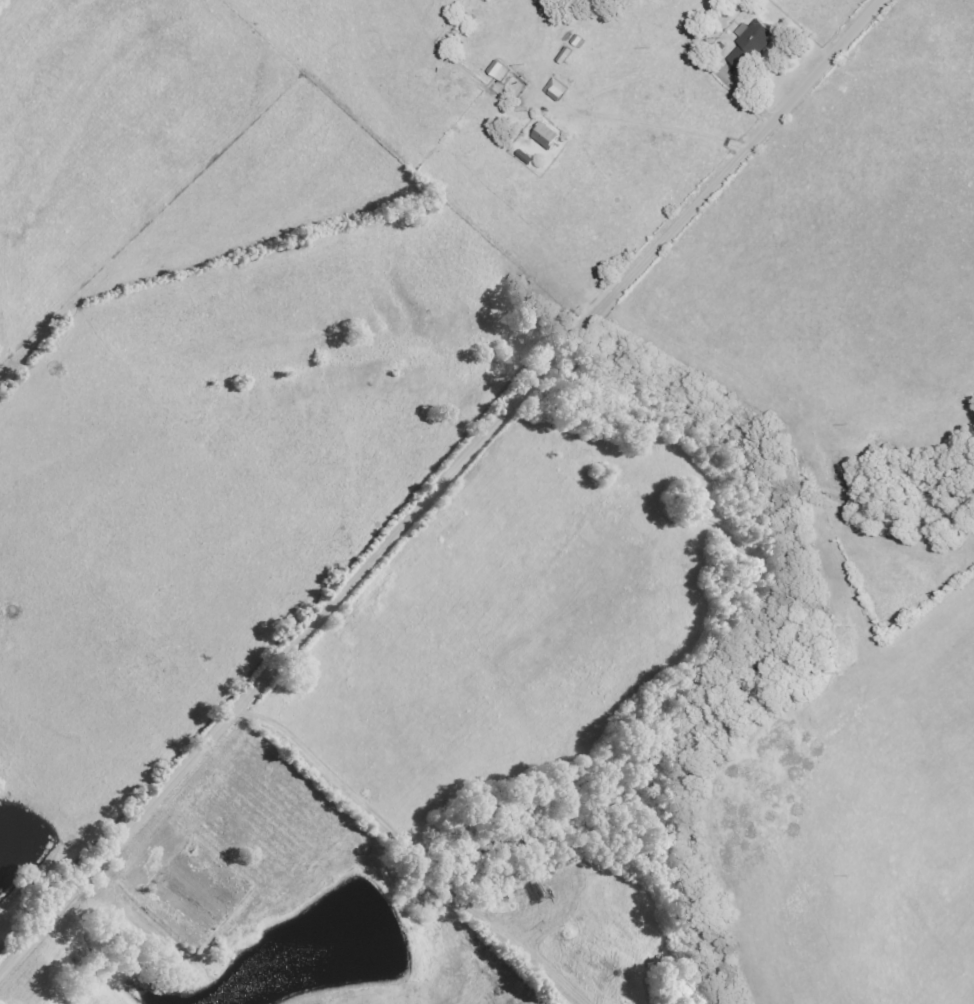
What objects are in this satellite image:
building: (753, 44)
building: (500, 71)
building: (557, 91)
building: (548, 136)
road: (441, 488)
road: (416, 849)

